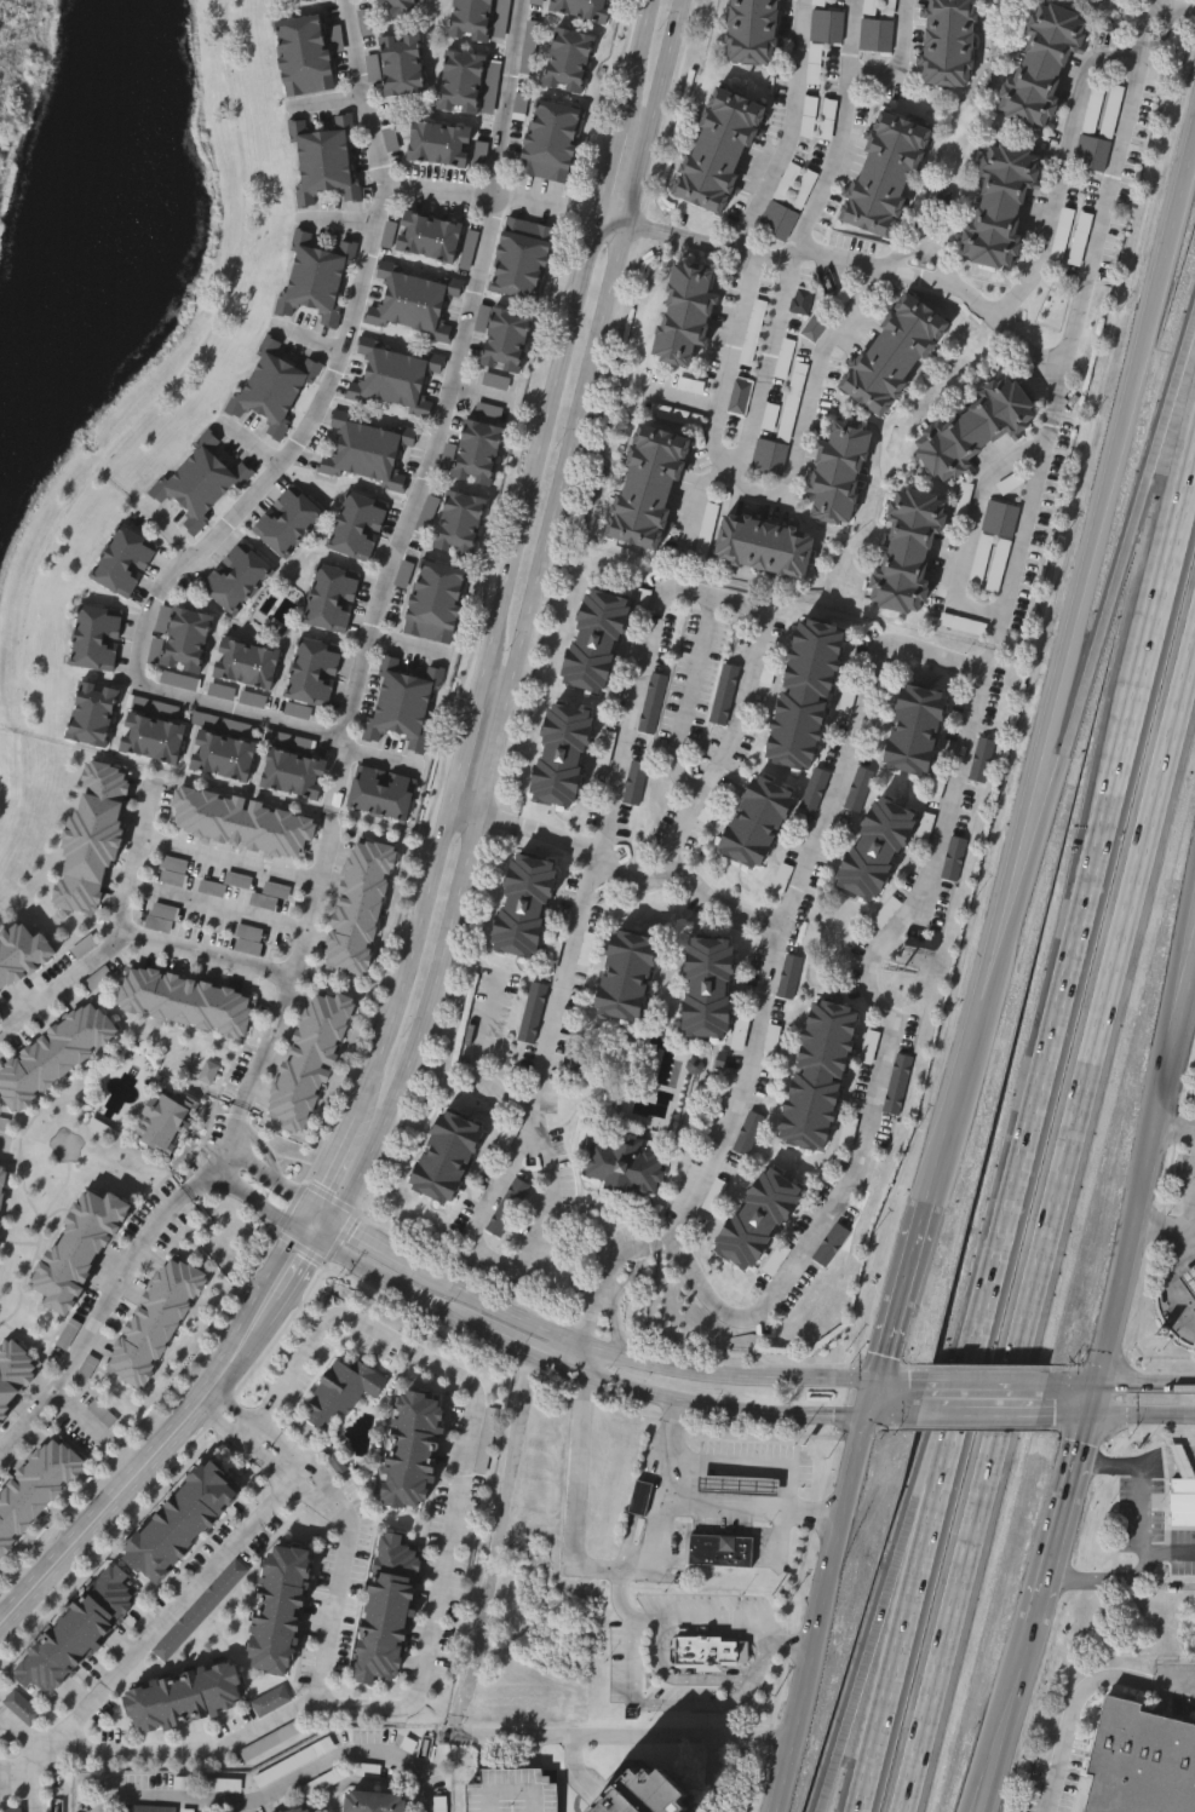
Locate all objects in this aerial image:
building: (312, 0)
building: (397, 7)
road: (1174, 7)
building: (581, 8)
road: (1149, 12)
building: (469, 21)
building: (751, 33)
road: (849, 36)
road: (1139, 40)
building: (947, 44)
building: (303, 54)
building: (567, 62)
building: (400, 64)
road: (637, 64)
road: (1136, 65)
building: (1039, 67)
building: (459, 82)
road: (329, 102)
road: (843, 108)
building: (826, 120)
road: (789, 131)
building: (389, 138)
building: (1101, 138)
building: (550, 140)
building: (436, 144)
building: (718, 153)
building: (323, 159)
road: (393, 171)
road: (609, 173)
building: (884, 177)
building: (998, 207)
road: (582, 211)
road: (1176, 213)
road: (339, 223)
building: (779, 224)
road: (633, 226)
building: (1063, 236)
building: (420, 237)
road: (689, 238)
building: (1081, 241)
building: (521, 259)
road: (908, 271)
building: (315, 280)
building: (412, 304)
building: (684, 315)
building: (504, 340)
building: (892, 357)
road: (764, 368)
building: (397, 379)
building: (277, 387)
road: (448, 409)
building: (972, 432)
building: (479, 444)
building: (368, 451)
road: (538, 460)
building: (839, 473)
building: (203, 484)
building: (647, 491)
road: (771, 491)
road: (694, 497)
building: (1000, 520)
building: (285, 522)
building: (458, 524)
road: (226, 525)
building: (356, 527)
building: (763, 548)
building: (907, 554)
building: (121, 563)
building: (234, 579)
building: (996, 585)
building: (329, 599)
building: (432, 603)
road: (1107, 605)
road: (993, 610)
road: (527, 617)
building: (964, 627)
building: (93, 638)
building: (183, 640)
road: (1065, 642)
road: (995, 643)
building: (592, 644)
building: (242, 665)
building: (311, 673)
building: (805, 686)
road: (686, 697)
building: (725, 697)
building: (402, 701)
building: (654, 706)
road: (971, 707)
building: (88, 714)
building: (912, 725)
building: (148, 740)
building: (219, 758)
road: (464, 758)
building: (558, 758)
building: (982, 758)
road: (620, 759)
building: (291, 776)
building: (637, 786)
building: (380, 794)
building: (758, 817)
road: (484, 818)
building: (240, 823)
building: (88, 839)
building: (877, 845)
building: (954, 859)
road: (230, 862)
building: (171, 872)
road: (654, 878)
road: (1189, 888)
road: (317, 895)
building: (363, 901)
building: (523, 904)
building: (161, 919)
road: (117, 932)
road: (1001, 947)
building: (24, 954)
road: (205, 956)
road: (410, 967)
road: (1065, 971)
building: (627, 973)
road: (1179, 978)
building: (707, 983)
building: (183, 1000)
building: (532, 1011)
road: (272, 1045)
building: (873, 1048)
building: (52, 1055)
road: (482, 1055)
building: (308, 1062)
building: (818, 1071)
building: (901, 1086)
road: (953, 1101)
road: (1176, 1118)
building: (163, 1121)
road: (234, 1134)
building: (851, 1135)
building: (446, 1151)
road: (332, 1162)
building: (625, 1164)
road: (1144, 1169)
road: (206, 1177)
road: (268, 1177)
building: (2, 1180)
road: (254, 1198)
road: (487, 1201)
road: (171, 1210)
road: (322, 1214)
road: (303, 1218)
building: (758, 1218)
road: (1174, 1224)
road: (1049, 1225)
road: (327, 1233)
building: (831, 1242)
road: (377, 1246)
building: (77, 1247)
road: (295, 1248)
road: (306, 1256)
building: (1189, 1277)
gas station: (1189, 1277)
road: (1173, 1279)
road: (605, 1289)
road: (898, 1292)
road: (509, 1301)
building: (154, 1321)
building: (67, 1334)
road: (314, 1340)
road: (82, 1342)
road: (639, 1358)
road: (584, 1359)
road: (448, 1368)
building: (13, 1369)
road: (591, 1377)
traffic signals: (875, 1380)
road: (901, 1380)
road: (987, 1381)
road: (1073, 1381)
traffic signals: (1098, 1381)
road: (1147, 1381)
building: (340, 1391)
road: (871, 1398)
road: (1093, 1399)
road: (245, 1413)
road: (978, 1416)
traffic signals: (867, 1417)
road: (1063, 1417)
road: (1142, 1417)
traffic signals: (1088, 1419)
road: (228, 1430)
building: (414, 1448)
road: (155, 1449)
road: (294, 1450)
road: (1194, 1460)
road: (1180, 1462)
road: (781, 1463)
road: (1155, 1466)
road: (277, 1469)
road: (301, 1472)
road: (1143, 1482)
gas station: (737, 1484)
building: (34, 1486)
building: (735, 1486)
gas station: (1178, 1490)
road: (328, 1491)
building: (1179, 1494)
road: (666, 1495)
building: (642, 1496)
road: (320, 1501)
road: (756, 1512)
building: (185, 1519)
road: (1061, 1521)
road: (914, 1536)
building: (720, 1547)
road: (598, 1567)
road: (1124, 1575)
building: (280, 1609)
building: (390, 1609)
road: (334, 1611)
road: (822, 1615)
building: (80, 1629)
road: (155, 1632)
building: (708, 1646)
road: (791, 1646)
road: (897, 1649)
road: (634, 1658)
road: (763, 1663)
road: (1168, 1687)
building: (184, 1697)
road: (855, 1699)
building: (270, 1702)
road: (697, 1704)
road: (384, 1707)
building: (22, 1709)
road: (458, 1710)
road: (1007, 1718)
road: (1070, 1718)
road: (999, 1721)
building: (1139, 1762)
road: (5, 1768)
road: (713, 1773)
road: (5, 1779)
road: (30, 1785)
road: (281, 1785)
building: (511, 1791)
parking lot: (511, 1791)
building: (647, 1791)
road: (970, 1791)
building: (373, 1801)
building: (301, 1808)
building: (13, 1811)

